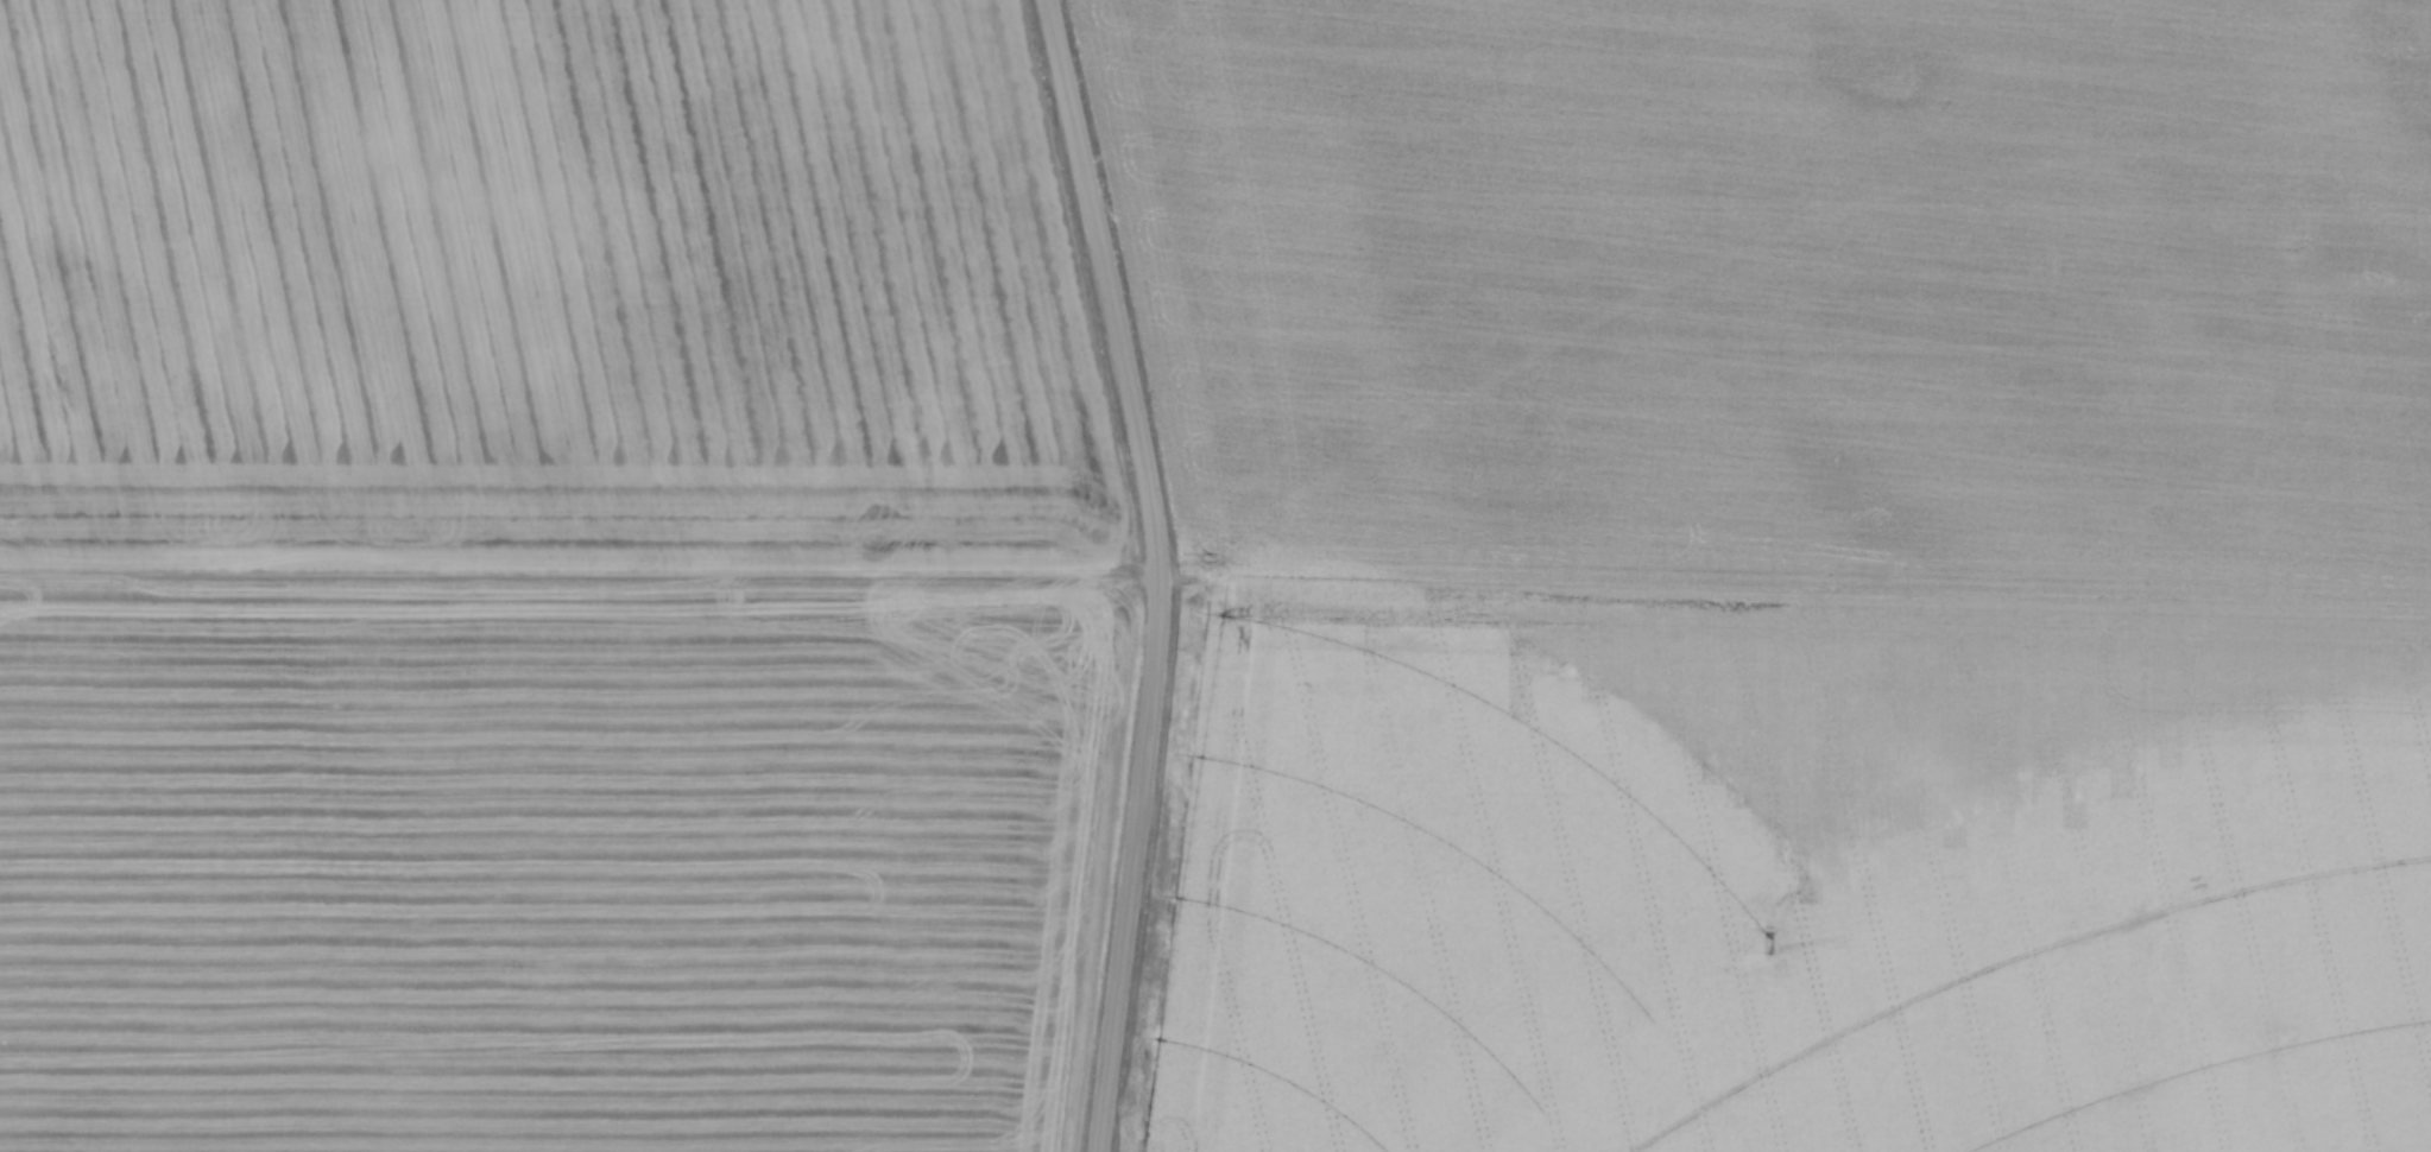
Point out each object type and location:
crop: (1794, 570)
road: (1160, 571)
crop: (547, 581)

